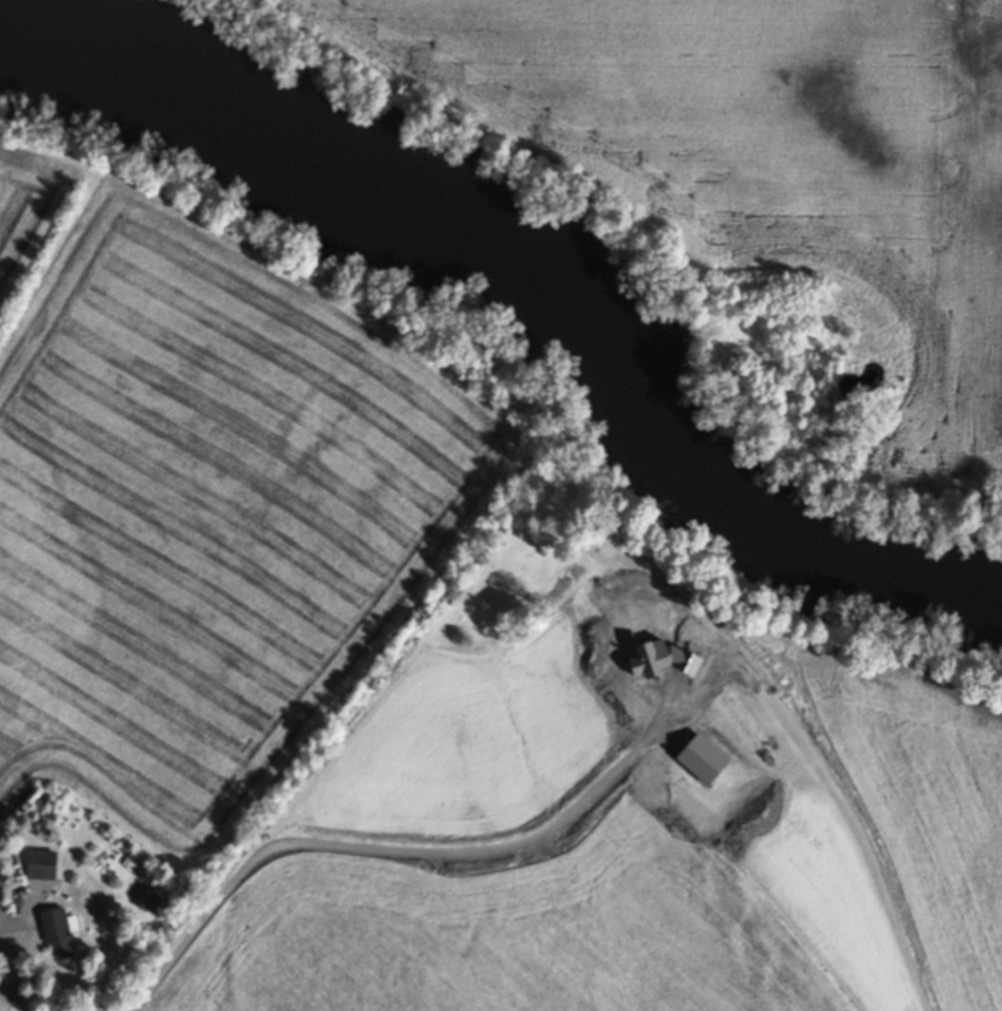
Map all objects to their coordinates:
river: (522, 286)
building: (40, 869)
building: (146, 902)
road: (24, 919)
building: (57, 936)

